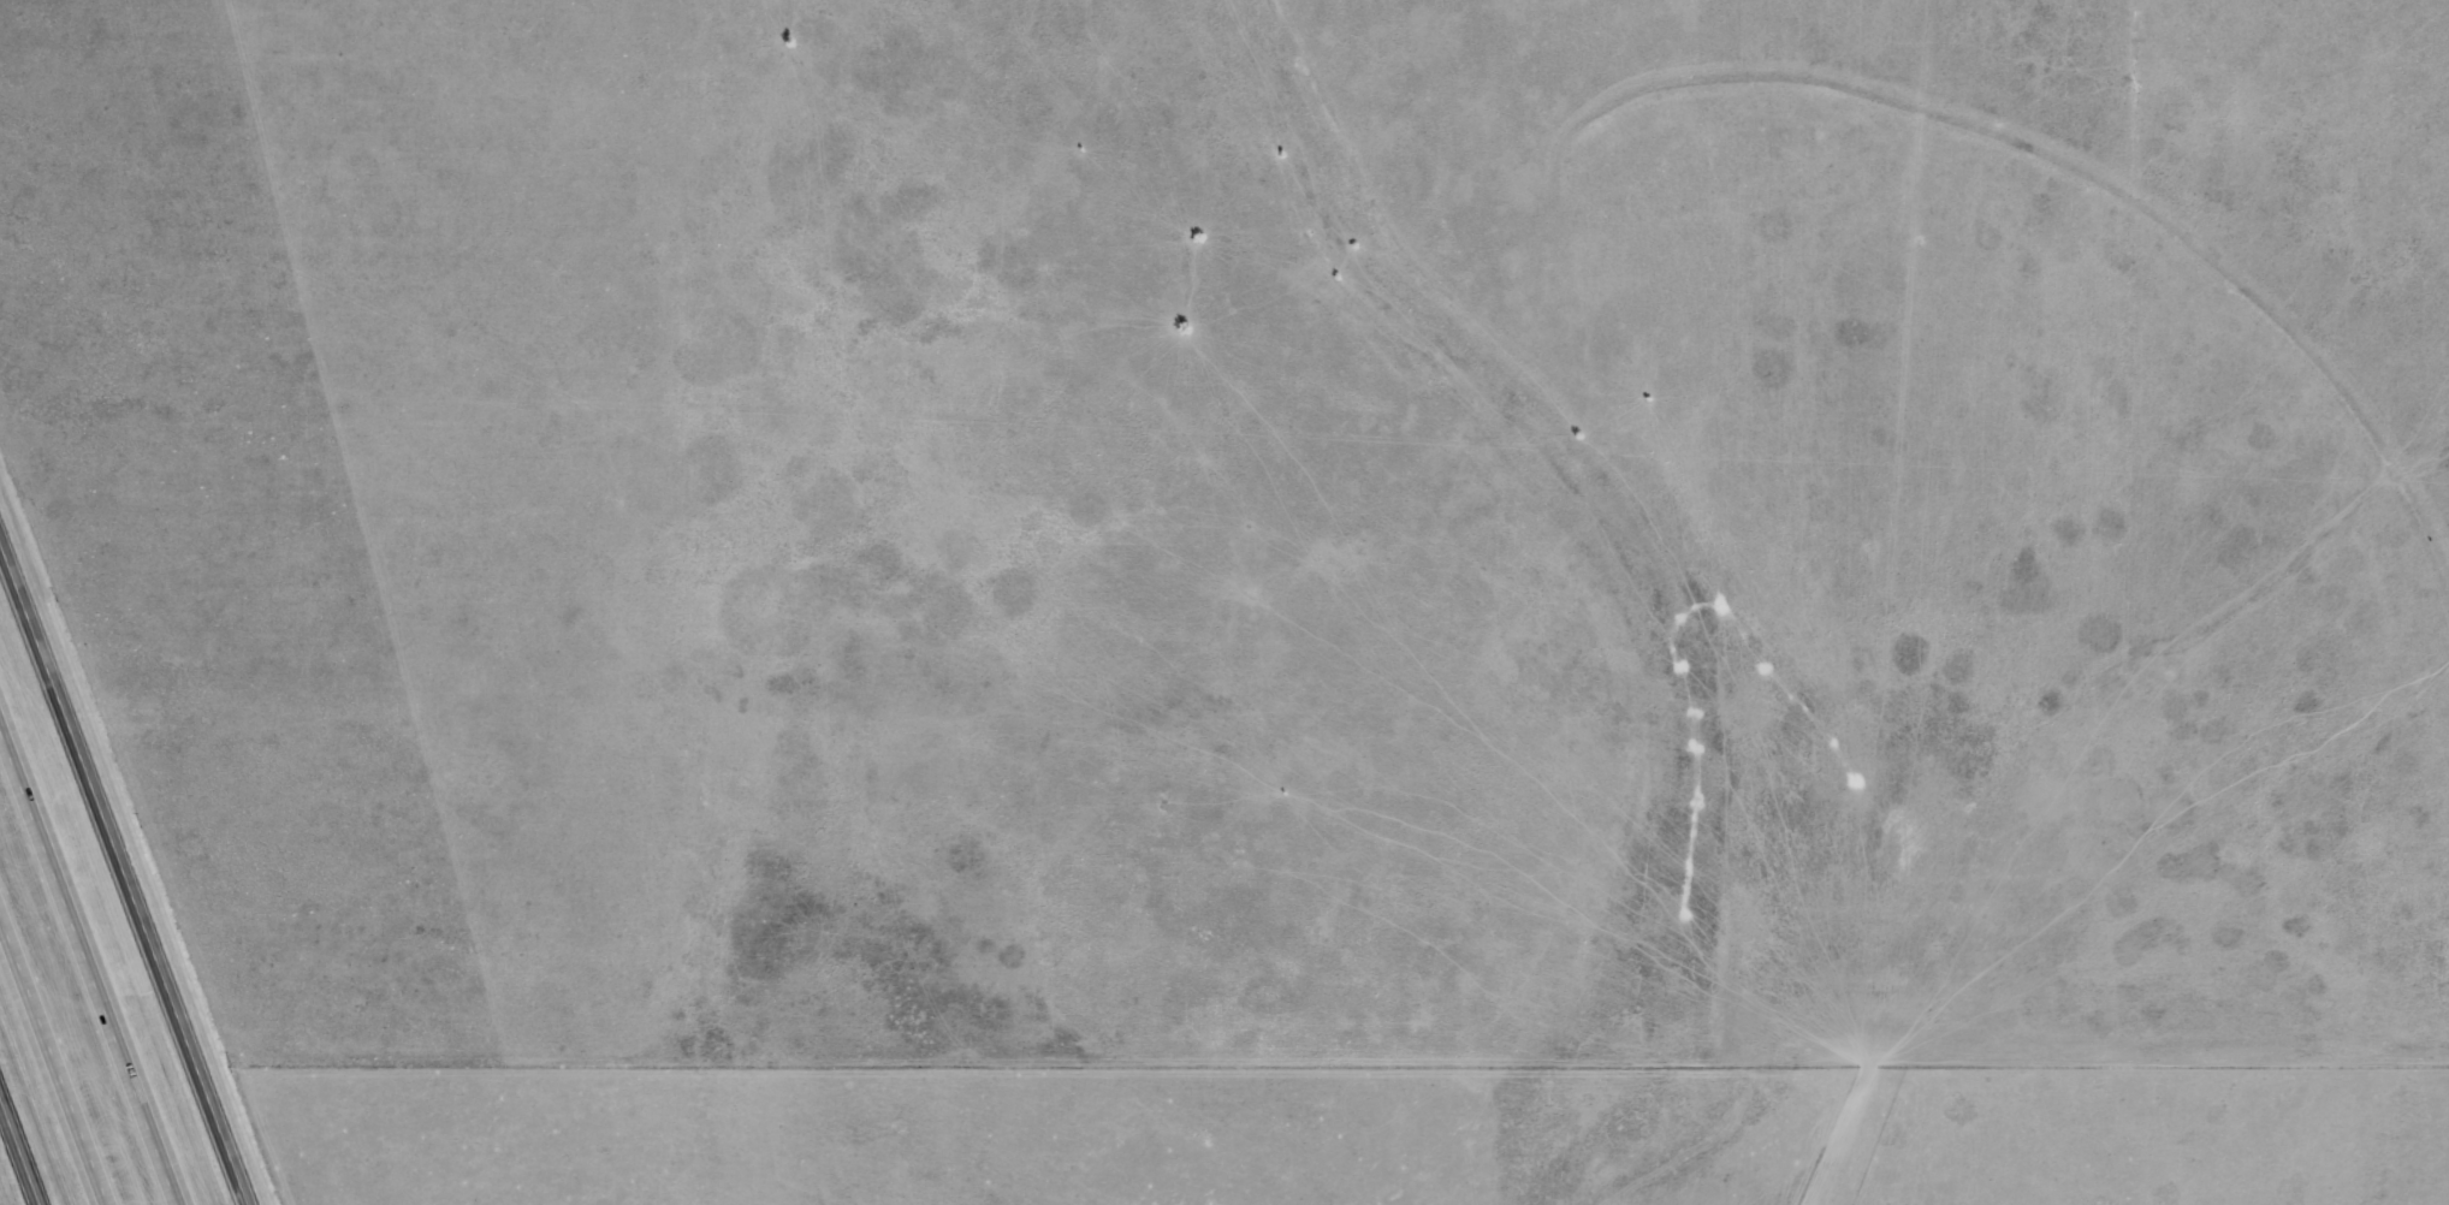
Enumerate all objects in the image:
road: (125, 871)
building: (72, 890)
road: (91, 962)
road: (54, 1061)
road: (20, 1146)

